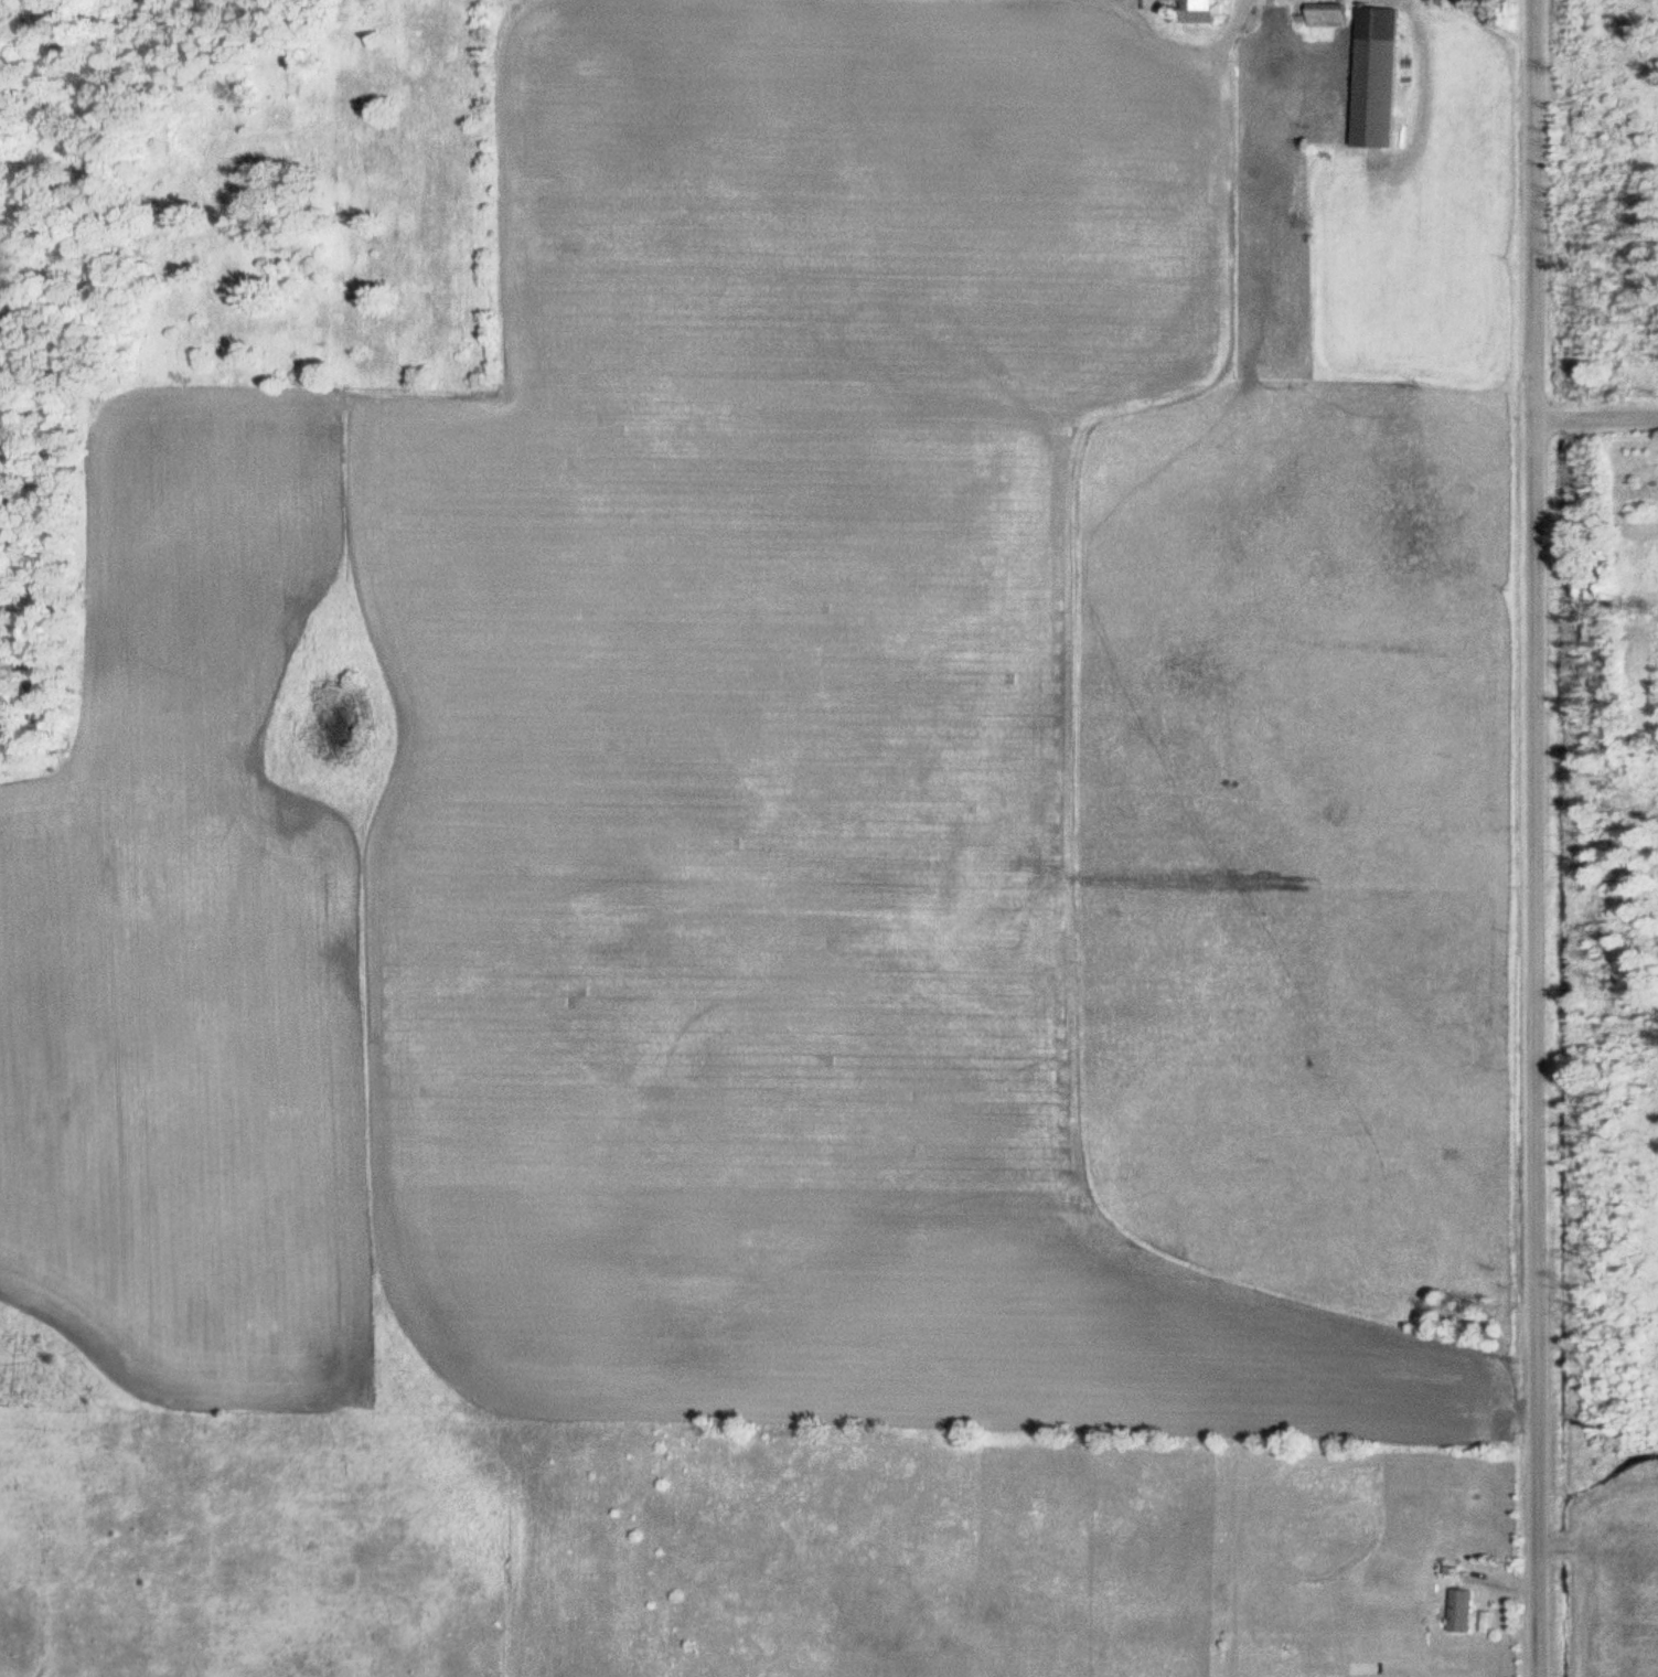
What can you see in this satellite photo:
building: (1200, 11)
building: (1326, 14)
building: (1373, 76)
road: (1598, 417)
road: (1539, 837)
building: (1459, 1611)

